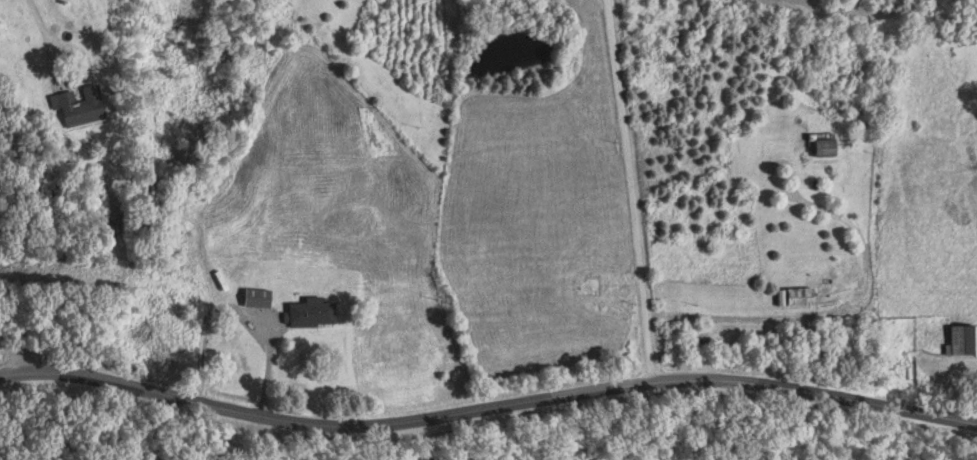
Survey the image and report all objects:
building: (87, 106)
road: (187, 185)
building: (265, 298)
building: (319, 312)
building: (966, 341)
road: (18, 355)
road: (487, 409)

